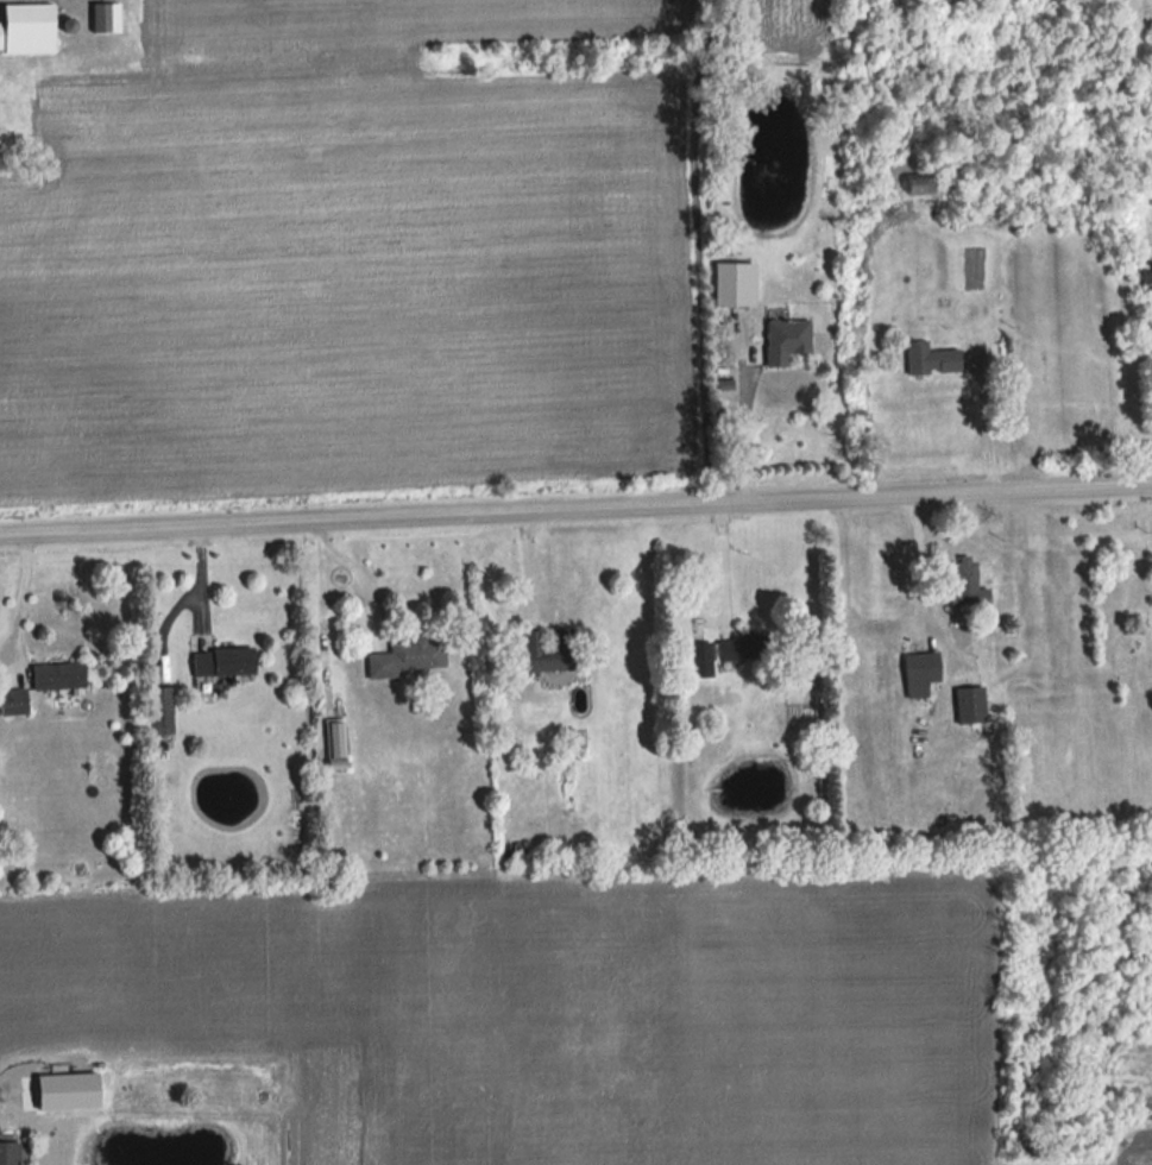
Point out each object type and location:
building: (102, 19)
crop: (402, 19)
crop: (779, 27)
building: (25, 29)
building: (914, 185)
building: (1142, 277)
crop: (348, 278)
building: (782, 338)
building: (926, 360)
road: (984, 415)
road: (744, 430)
road: (575, 505)
road: (720, 556)
road: (920, 561)
road: (357, 569)
building: (964, 584)
road: (20, 599)
building: (735, 649)
building: (409, 655)
building: (542, 656)
building: (698, 659)
building: (220, 660)
building: (917, 673)
building: (53, 675)
building: (12, 700)
building: (967, 705)
building: (158, 710)
building: (334, 743)
crop: (546, 1010)
building: (7, 1151)

